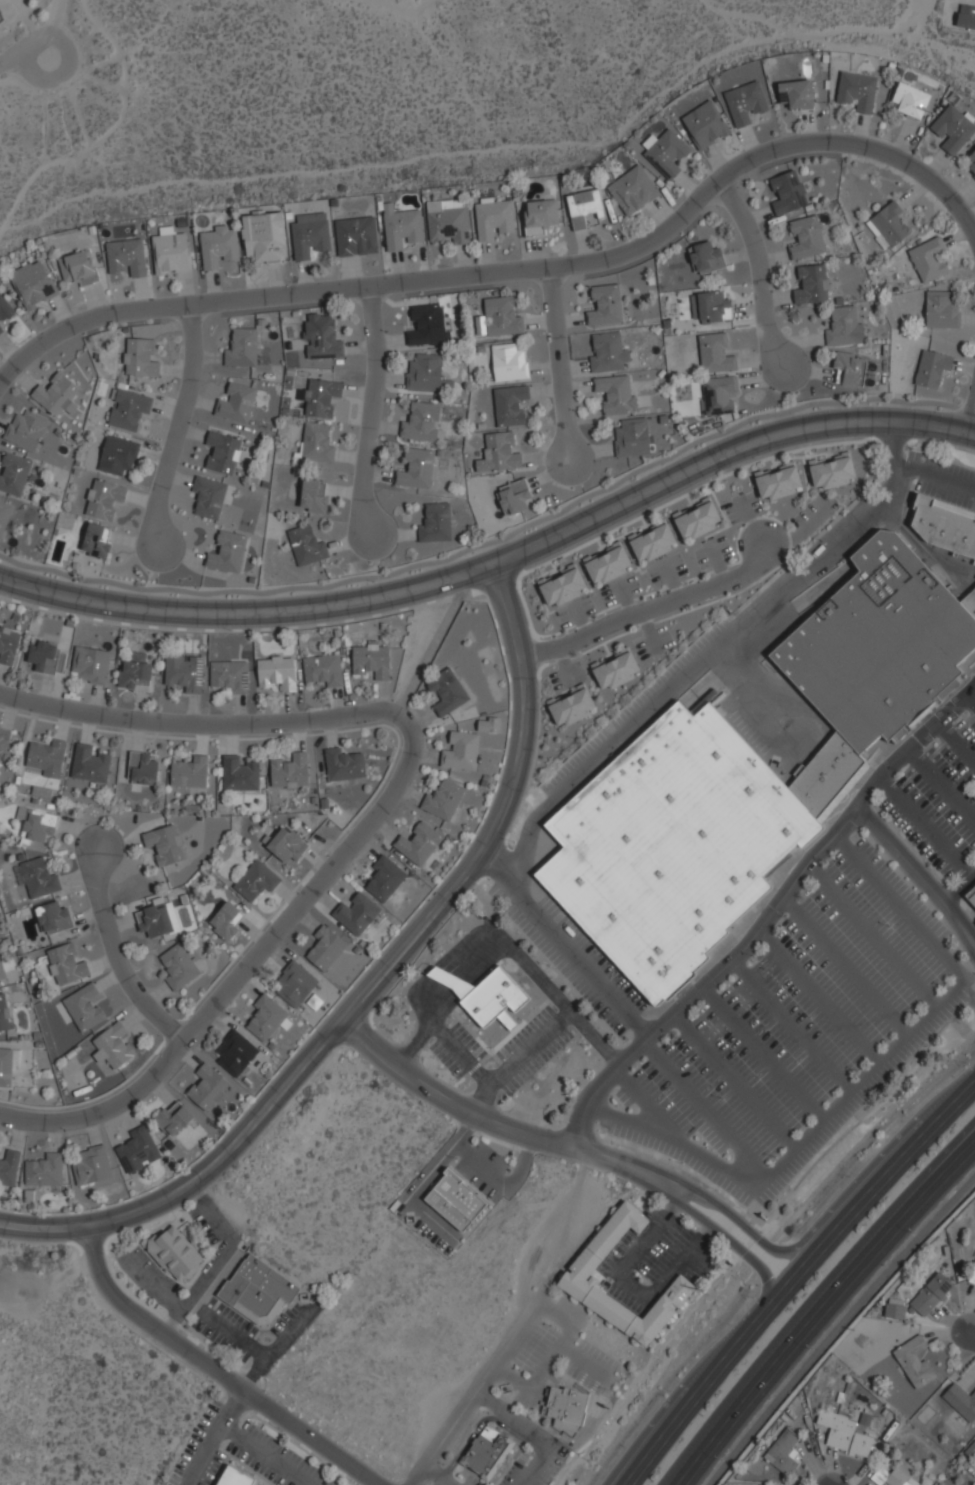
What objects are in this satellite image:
building: (966, 16)
park: (1, 22)
road: (6, 58)
road: (24, 66)
park: (59, 82)
building: (856, 91)
building: (796, 94)
building: (910, 100)
building: (745, 103)
building: (704, 125)
building: (953, 129)
building: (665, 152)
building: (971, 160)
building: (633, 190)
building: (788, 192)
building: (583, 207)
building: (539, 216)
building: (493, 219)
building: (447, 221)
building: (887, 225)
building: (401, 227)
building: (309, 235)
building: (263, 236)
building: (356, 236)
building: (805, 238)
building: (218, 247)
building: (170, 253)
building: (126, 257)
building: (704, 258)
building: (927, 260)
building: (78, 268)
road: (513, 270)
road: (758, 271)
building: (32, 284)
building: (811, 285)
building: (604, 306)
building: (712, 308)
building: (4, 309)
building: (940, 311)
building: (498, 318)
building: (428, 326)
building: (843, 327)
building: (1, 330)
building: (320, 338)
building: (242, 348)
building: (607, 353)
building: (714, 354)
building: (140, 358)
building: (508, 363)
road: (558, 364)
building: (930, 368)
building: (847, 369)
building: (424, 373)
building: (617, 393)
building: (56, 395)
building: (718, 395)
building: (320, 398)
building: (236, 403)
building: (508, 405)
building: (127, 410)
street lamp: (941, 410)
road: (370, 412)
road: (970, 415)
building: (421, 424)
road: (176, 427)
building: (25, 430)
building: (630, 438)
building: (316, 443)
street lamp: (921, 451)
building: (222, 452)
building: (497, 454)
building: (117, 455)
building: (415, 470)
building: (831, 471)
building: (14, 475)
road: (937, 476)
building: (777, 482)
parking lot: (944, 495)
building: (313, 496)
building: (207, 497)
building: (513, 497)
building: (102, 499)
parking lot: (753, 502)
parking lot: (809, 510)
parking lot: (730, 514)
building: (4, 515)
building: (696, 519)
road: (748, 520)
building: (434, 524)
building: (944, 525)
road: (801, 532)
building: (651, 541)
building: (95, 542)
building: (305, 546)
parking lot: (723, 547)
building: (227, 553)
parking lot: (700, 558)
road: (498, 561)
building: (607, 563)
road: (715, 563)
parking lot: (677, 564)
parking lot: (654, 576)
road: (669, 578)
parking lot: (631, 583)
building: (561, 586)
parking lot: (608, 595)
road: (622, 598)
parking lot: (586, 605)
road: (650, 608)
parking lot: (562, 616)
road: (578, 619)
road: (648, 633)
parking lot: (664, 637)
building: (8, 646)
road: (712, 648)
parking lot: (641, 649)
street lamp: (670, 650)
building: (43, 655)
building: (371, 659)
building: (90, 664)
road: (563, 668)
building: (323, 669)
building: (614, 669)
building: (136, 672)
building: (184, 672)
building: (278, 672)
parking lot: (578, 672)
parking lot: (668, 673)
building: (229, 675)
parking lot: (555, 682)
building: (446, 692)
building: (570, 706)
street lamp: (959, 717)
building: (488, 725)
building: (6, 741)
building: (459, 752)
building: (45, 758)
parking lot: (573, 761)
building: (88, 764)
building: (342, 765)
building: (141, 769)
street lamp: (899, 771)
building: (289, 772)
building: (189, 773)
building: (239, 774)
building: (749, 774)
road: (941, 782)
building: (442, 801)
road: (378, 812)
building: (38, 826)
building: (418, 843)
building: (164, 844)
building: (287, 845)
street lamp: (824, 862)
road: (920, 876)
building: (37, 878)
building: (384, 879)
building: (255, 880)
road: (959, 891)
building: (971, 895)
building: (357, 913)
road: (768, 916)
building: (52, 918)
building: (157, 920)
building: (224, 921)
street lamp: (889, 927)
street lamp: (463, 930)
road: (562, 944)
building: (326, 947)
street lamp: (441, 952)
parking lot: (592, 955)
road: (122, 957)
street lamp: (752, 957)
road: (468, 960)
building: (65, 966)
street lamp: (549, 966)
building: (178, 967)
parking lot: (563, 968)
building: (1, 974)
street lamp: (418, 974)
street lamp: (549, 977)
building: (294, 984)
road: (375, 984)
street lamp: (943, 986)
building: (485, 996)
building: (84, 1008)
building: (3, 1015)
street lamp: (449, 1016)
building: (267, 1018)
street lamp: (809, 1018)
street lamp: (520, 1020)
street lamp: (468, 1025)
street lamp: (670, 1032)
parking lot: (796, 1032)
parking lot: (524, 1033)
road: (594, 1039)
street lamp: (571, 1041)
parking lot: (467, 1042)
building: (111, 1046)
street lamp: (489, 1049)
building: (234, 1053)
street lamp: (433, 1059)
parking lot: (446, 1060)
parking lot: (536, 1062)
building: (8, 1064)
street lamp: (542, 1067)
street lamp: (857, 1071)
road: (498, 1075)
street lamp: (453, 1081)
building: (207, 1087)
street lamp: (513, 1093)
street lamp: (720, 1098)
building: (171, 1119)
road: (494, 1124)
building: (137, 1150)
road: (878, 1153)
parking lot: (490, 1156)
street lamp: (503, 1157)
street lamp: (774, 1158)
street lamp: (455, 1159)
building: (89, 1165)
road: (435, 1165)
building: (9, 1168)
building: (44, 1171)
parking lot: (476, 1181)
road: (500, 1182)
road: (873, 1194)
building: (455, 1201)
street lamp: (97, 1209)
road: (734, 1216)
street lamp: (901, 1224)
parking lot: (202, 1225)
street lamp: (415, 1233)
road: (725, 1235)
parking lot: (432, 1236)
street lamp: (435, 1249)
building: (174, 1253)
parking lot: (140, 1260)
road: (217, 1260)
road: (831, 1272)
building: (972, 1276)
building: (584, 1277)
parking lot: (168, 1286)
road: (147, 1287)
building: (256, 1291)
power tower: (702, 1291)
building: (930, 1295)
parking lot: (315, 1301)
parking lot: (210, 1303)
road: (814, 1303)
parking lot: (569, 1309)
building: (894, 1312)
parking lot: (234, 1320)
parking lot: (283, 1320)
street lamp: (549, 1325)
road: (231, 1334)
road: (971, 1337)
parking lot: (218, 1341)
street lamp: (795, 1342)
road: (275, 1348)
parking lot: (534, 1348)
parking lot: (597, 1356)
building: (913, 1361)
road: (212, 1369)
street lamp: (517, 1371)
parking lot: (581, 1376)
street lamp: (211, 1383)
street lamp: (604, 1390)
road: (702, 1392)
road: (475, 1393)
parking lot: (523, 1402)
building: (960, 1404)
building: (569, 1407)
street lamp: (486, 1413)
street lamp: (253, 1423)
building: (843, 1435)
road: (213, 1437)
parking lot: (193, 1443)
building: (486, 1453)
building: (782, 1453)
parking lot: (285, 1454)
road: (263, 1455)
street lamp: (701, 1458)
street lamp: (441, 1464)
parking lot: (255, 1465)
parking lot: (210, 1468)
road: (437, 1475)
building: (892, 1477)
building: (233, 1478)

